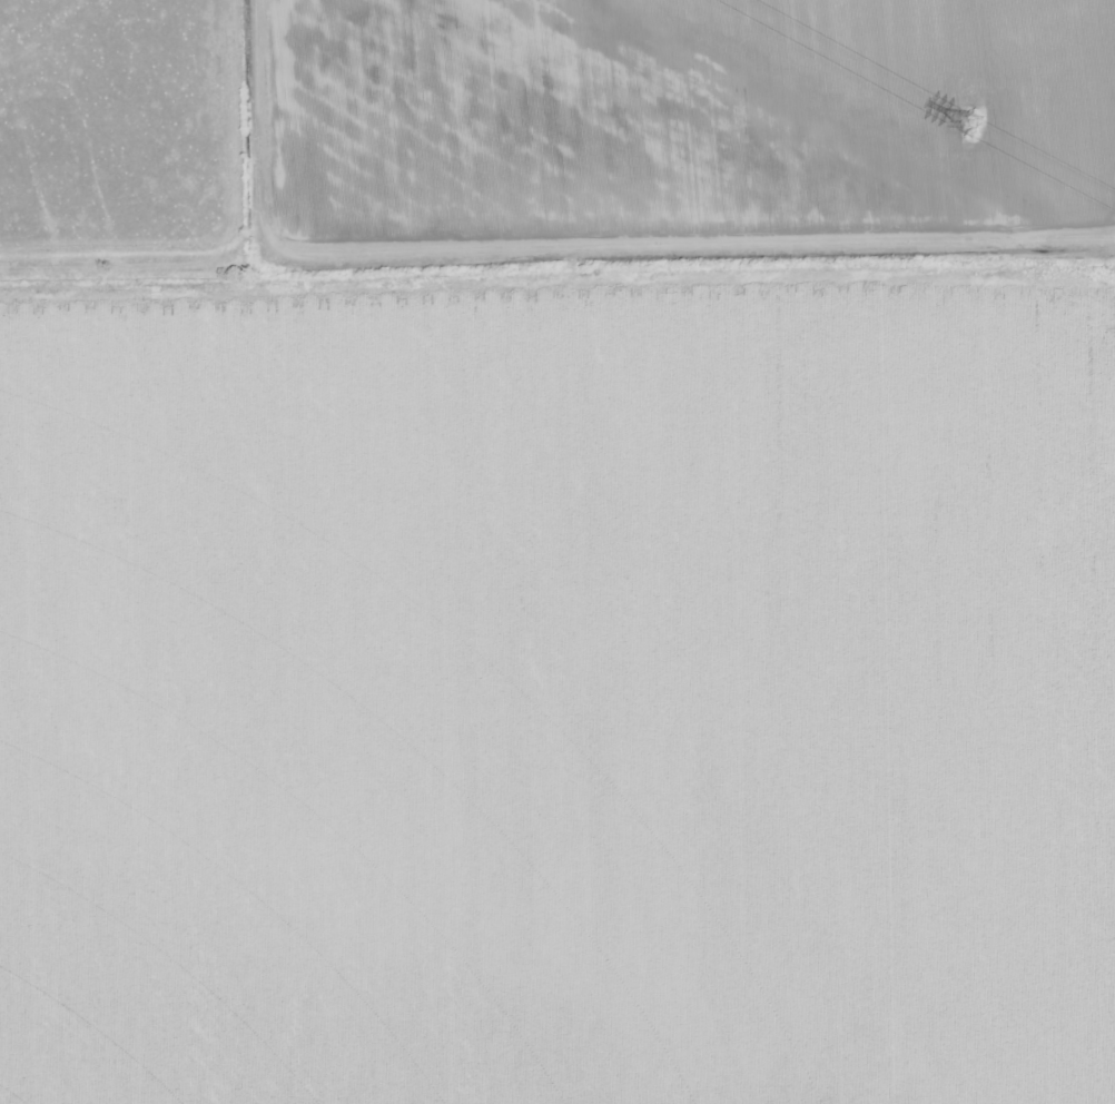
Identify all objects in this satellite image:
power tower: (968, 124)
road: (557, 228)

